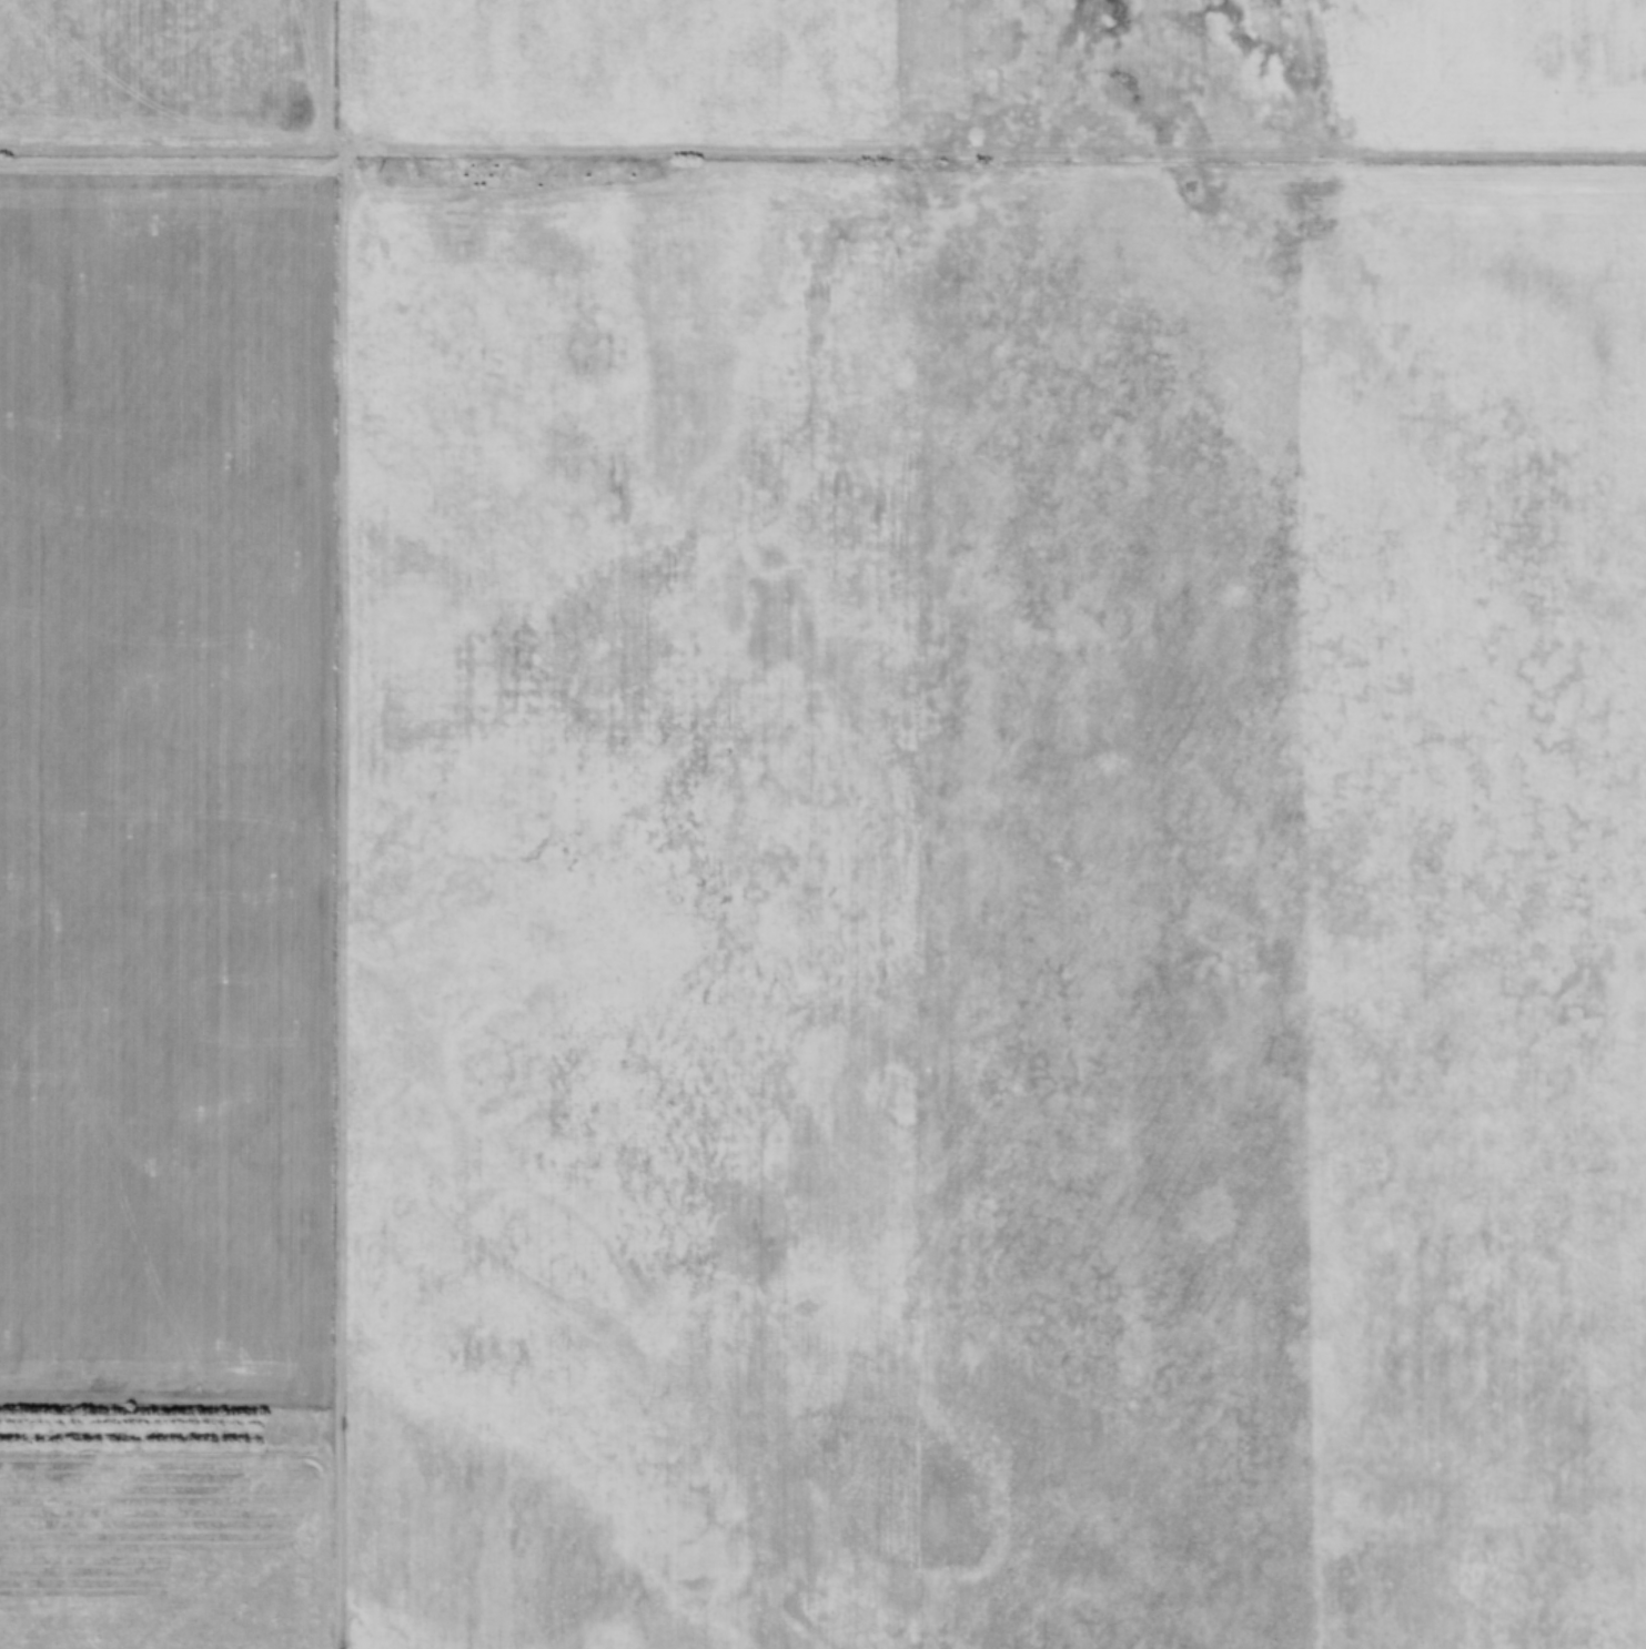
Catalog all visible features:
road: (351, 731)

